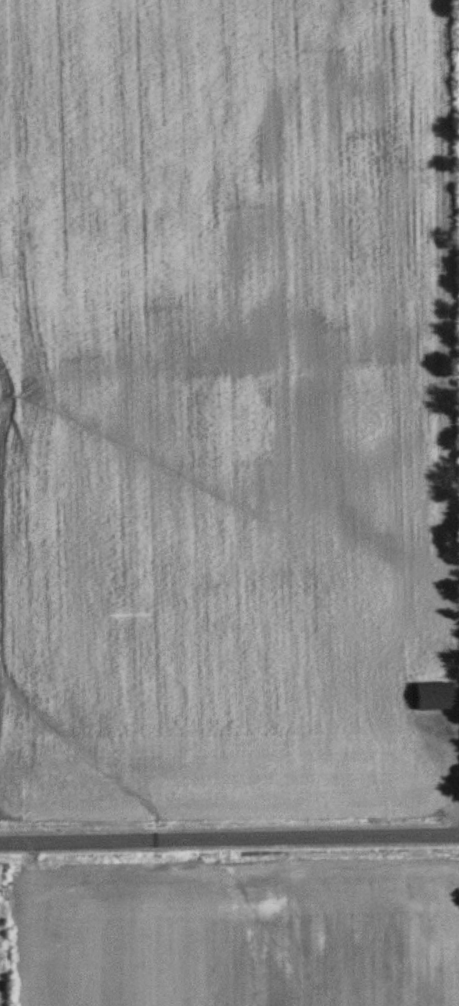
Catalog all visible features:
building: (434, 696)
road: (433, 771)
road: (229, 836)

